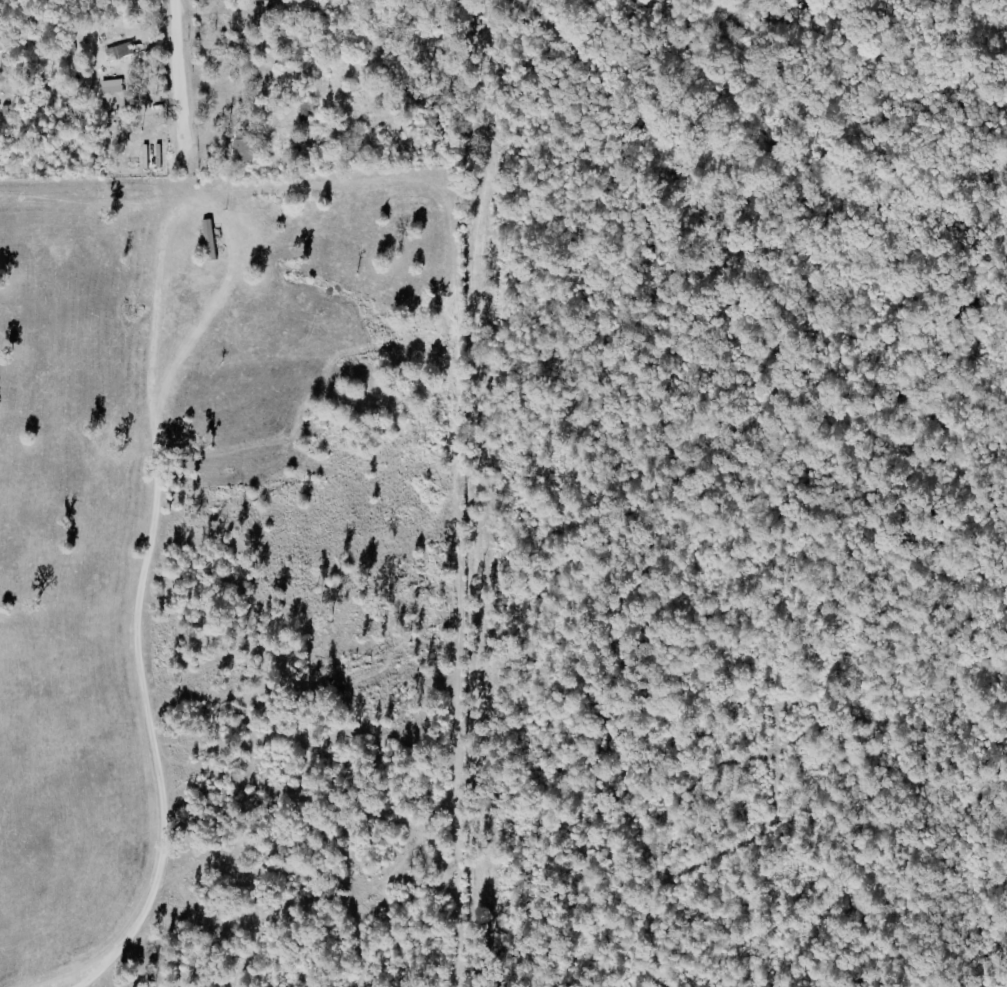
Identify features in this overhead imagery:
road: (2, 8)
road: (199, 11)
building: (118, 51)
road: (176, 76)
building: (110, 90)
building: (241, 150)

